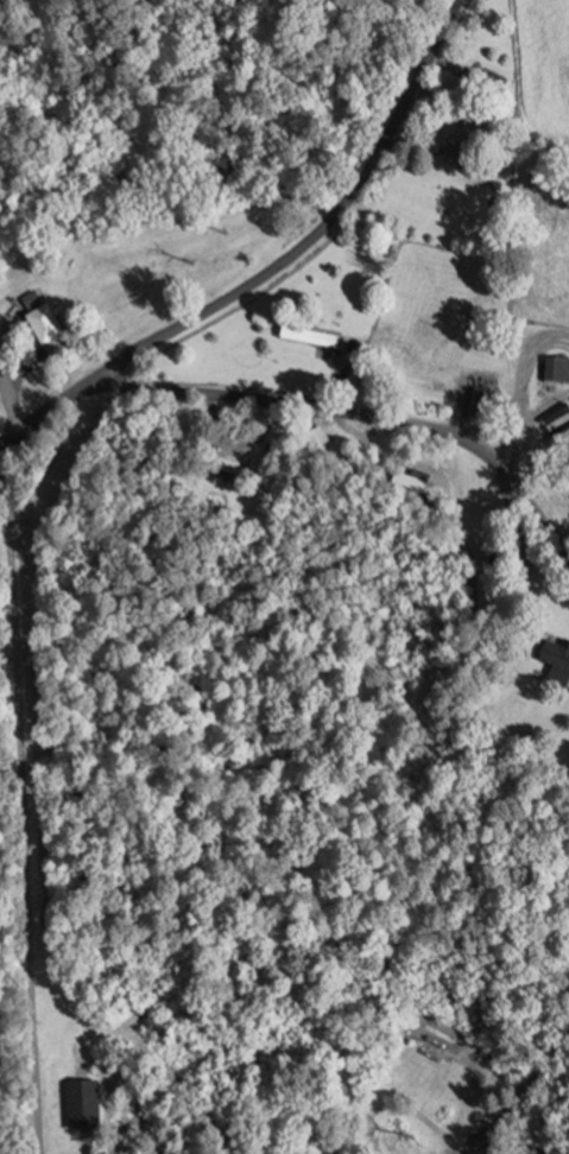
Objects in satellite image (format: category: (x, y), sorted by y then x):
building: (464, 144)
road: (327, 228)
road: (4, 317)
building: (46, 331)
building: (310, 338)
building: (557, 372)
road: (330, 375)
building: (438, 376)
road: (520, 379)
road: (10, 387)
road: (4, 389)
road: (457, 402)
building: (482, 406)
road: (55, 408)
road: (367, 411)
road: (532, 412)
road: (358, 436)
road: (2, 443)
road: (239, 444)
building: (318, 445)
road: (447, 449)
road: (508, 457)
building: (220, 469)
building: (419, 486)
road: (513, 508)
road: (561, 533)
building: (557, 666)
road: (23, 798)
road: (421, 1017)
building: (432, 1040)
building: (67, 1079)
road: (523, 1082)
road: (399, 1107)
road: (494, 1117)
road: (473, 1147)

